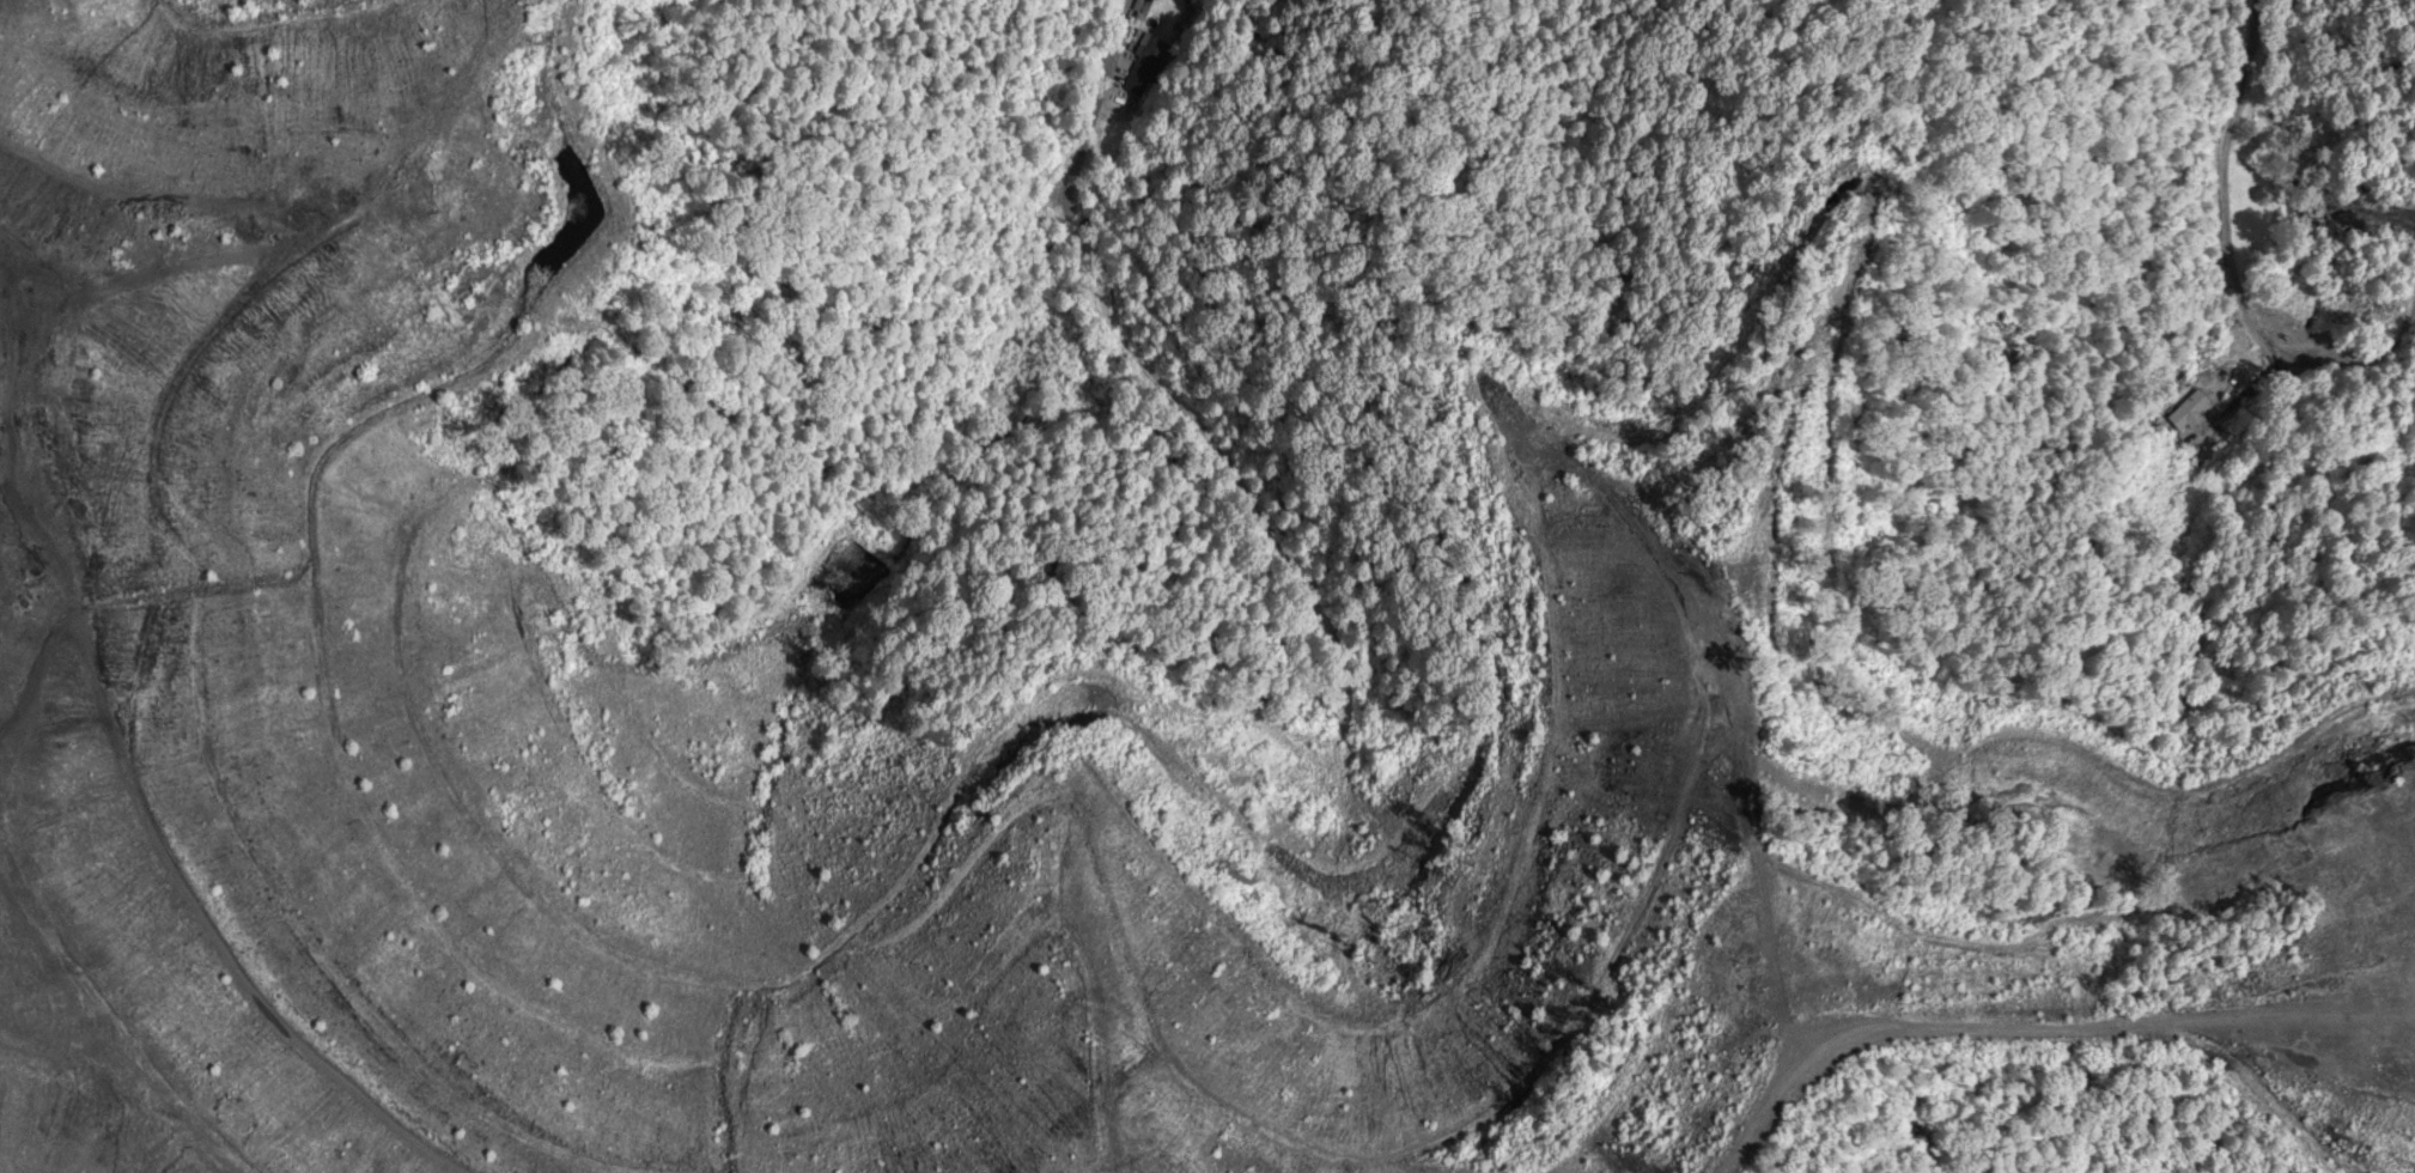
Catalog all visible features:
road: (1762, 30)
road: (2293, 110)
road: (1038, 111)
building: (2191, 411)

